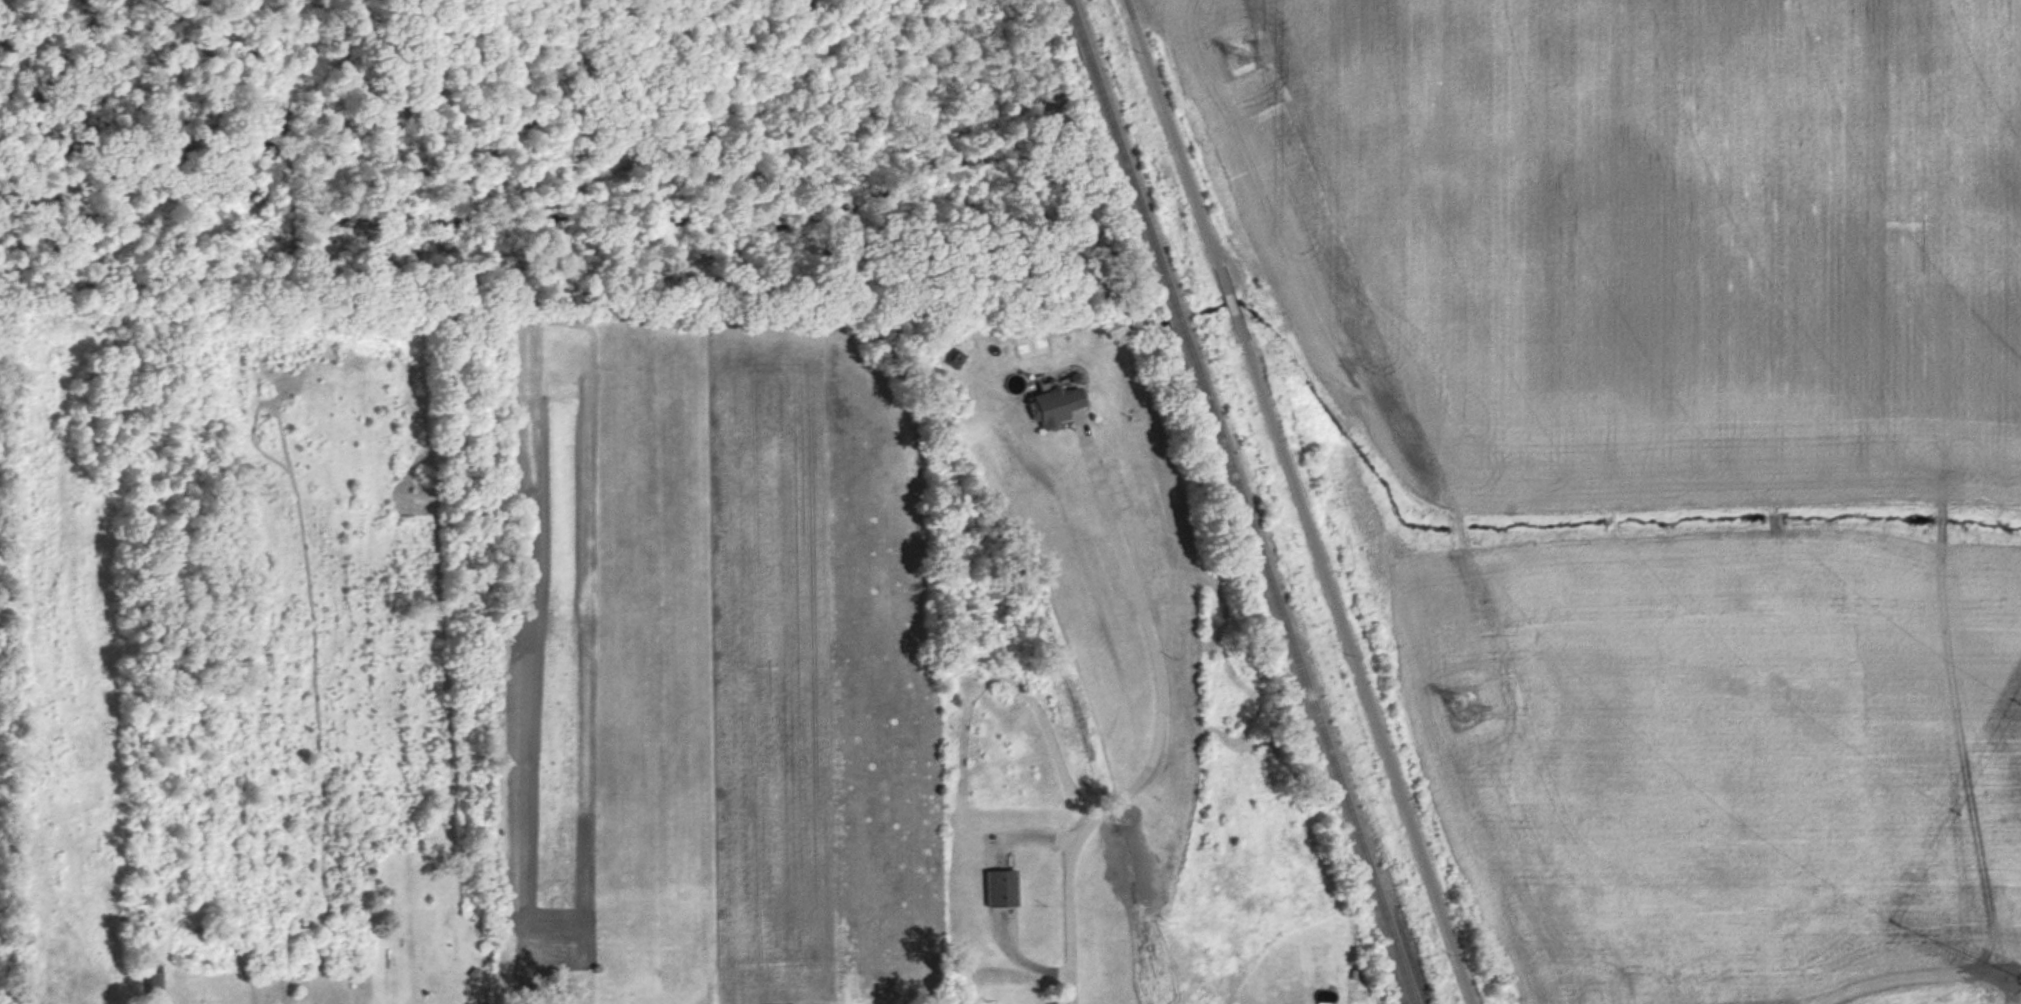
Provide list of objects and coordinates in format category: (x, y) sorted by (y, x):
power tower: (1241, 61)
building: (1054, 406)
railway: (1245, 501)
road: (1296, 502)
power tower: (1389, 642)
power tower: (1467, 708)
road: (1158, 738)
building: (1001, 890)
road: (1918, 971)
building: (154, 978)

